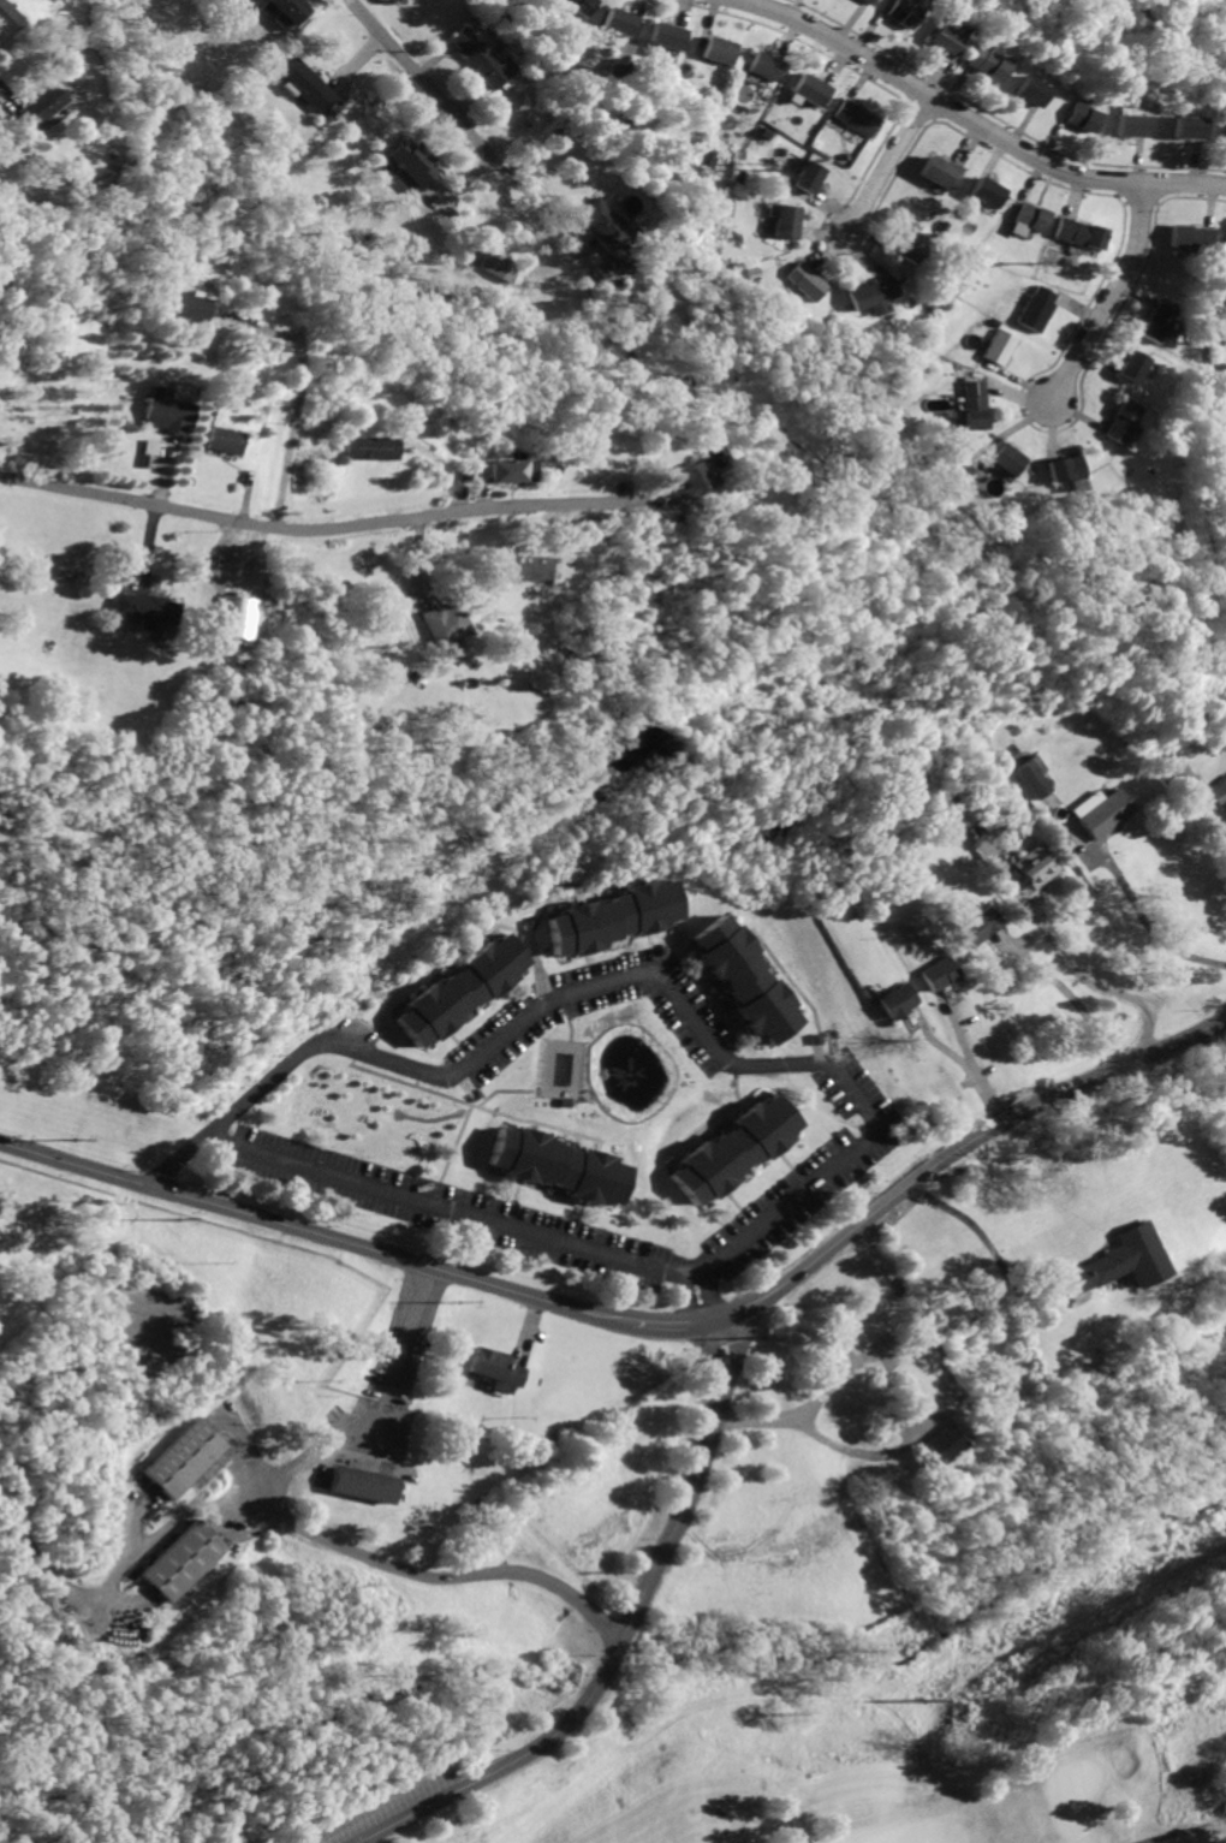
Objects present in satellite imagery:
building: (857, 1)
building: (581, 6)
building: (290, 12)
building: (894, 12)
building: (6, 16)
building: (619, 20)
building: (667, 34)
building: (939, 38)
building: (719, 49)
building: (486, 58)
building: (983, 64)
building: (763, 65)
building: (309, 85)
building: (811, 89)
building: (1026, 90)
road: (434, 91)
building: (42, 105)
building: (857, 117)
building: (1078, 117)
road: (972, 121)
building: (1125, 124)
building: (1180, 124)
building: (1221, 130)
building: (415, 164)
road: (889, 165)
building: (944, 171)
building: (811, 176)
building: (987, 191)
building: (1031, 215)
building: (788, 220)
building: (603, 221)
building: (1081, 232)
building: (1189, 236)
building: (915, 244)
building: (1224, 250)
building: (624, 256)
building: (1225, 258)
building: (499, 263)
building: (808, 280)
building: (876, 293)
road: (1113, 297)
building: (185, 308)
building: (1040, 308)
building: (1159, 321)
building: (1000, 346)
building: (1133, 365)
road: (297, 388)
building: (178, 390)
building: (975, 404)
building: (165, 409)
building: (1121, 418)
building: (224, 438)
building: (149, 445)
building: (369, 446)
building: (1010, 458)
building: (1066, 466)
building: (504, 468)
building: (688, 482)
road: (315, 530)
building: (149, 606)
building: (445, 624)
building: (1029, 775)
building: (1216, 790)
building: (1099, 810)
building: (962, 813)
road: (1220, 830)
building: (1035, 864)
road: (1143, 911)
building: (611, 915)
building: (978, 925)
road: (1065, 961)
building: (939, 973)
building: (743, 975)
building: (459, 987)
road: (1070, 997)
building: (898, 999)
road: (966, 1060)
fountain: (633, 1072)
road: (841, 1072)
building: (733, 1146)
road: (960, 1154)
building: (557, 1164)
park: (56, 1213)
road: (316, 1223)
road: (982, 1236)
building: (1119, 1261)
road: (706, 1295)
road: (683, 1298)
road: (673, 1324)
road: (526, 1330)
building: (498, 1366)
road: (951, 1404)
road: (381, 1411)
building: (946, 1443)
building: (189, 1461)
building: (364, 1484)
building: (183, 1562)
road: (55, 1574)
road: (435, 1574)
road: (615, 1645)
park: (748, 1742)
park: (1073, 1784)
parking lot: (391, 1811)
road: (1180, 1830)

